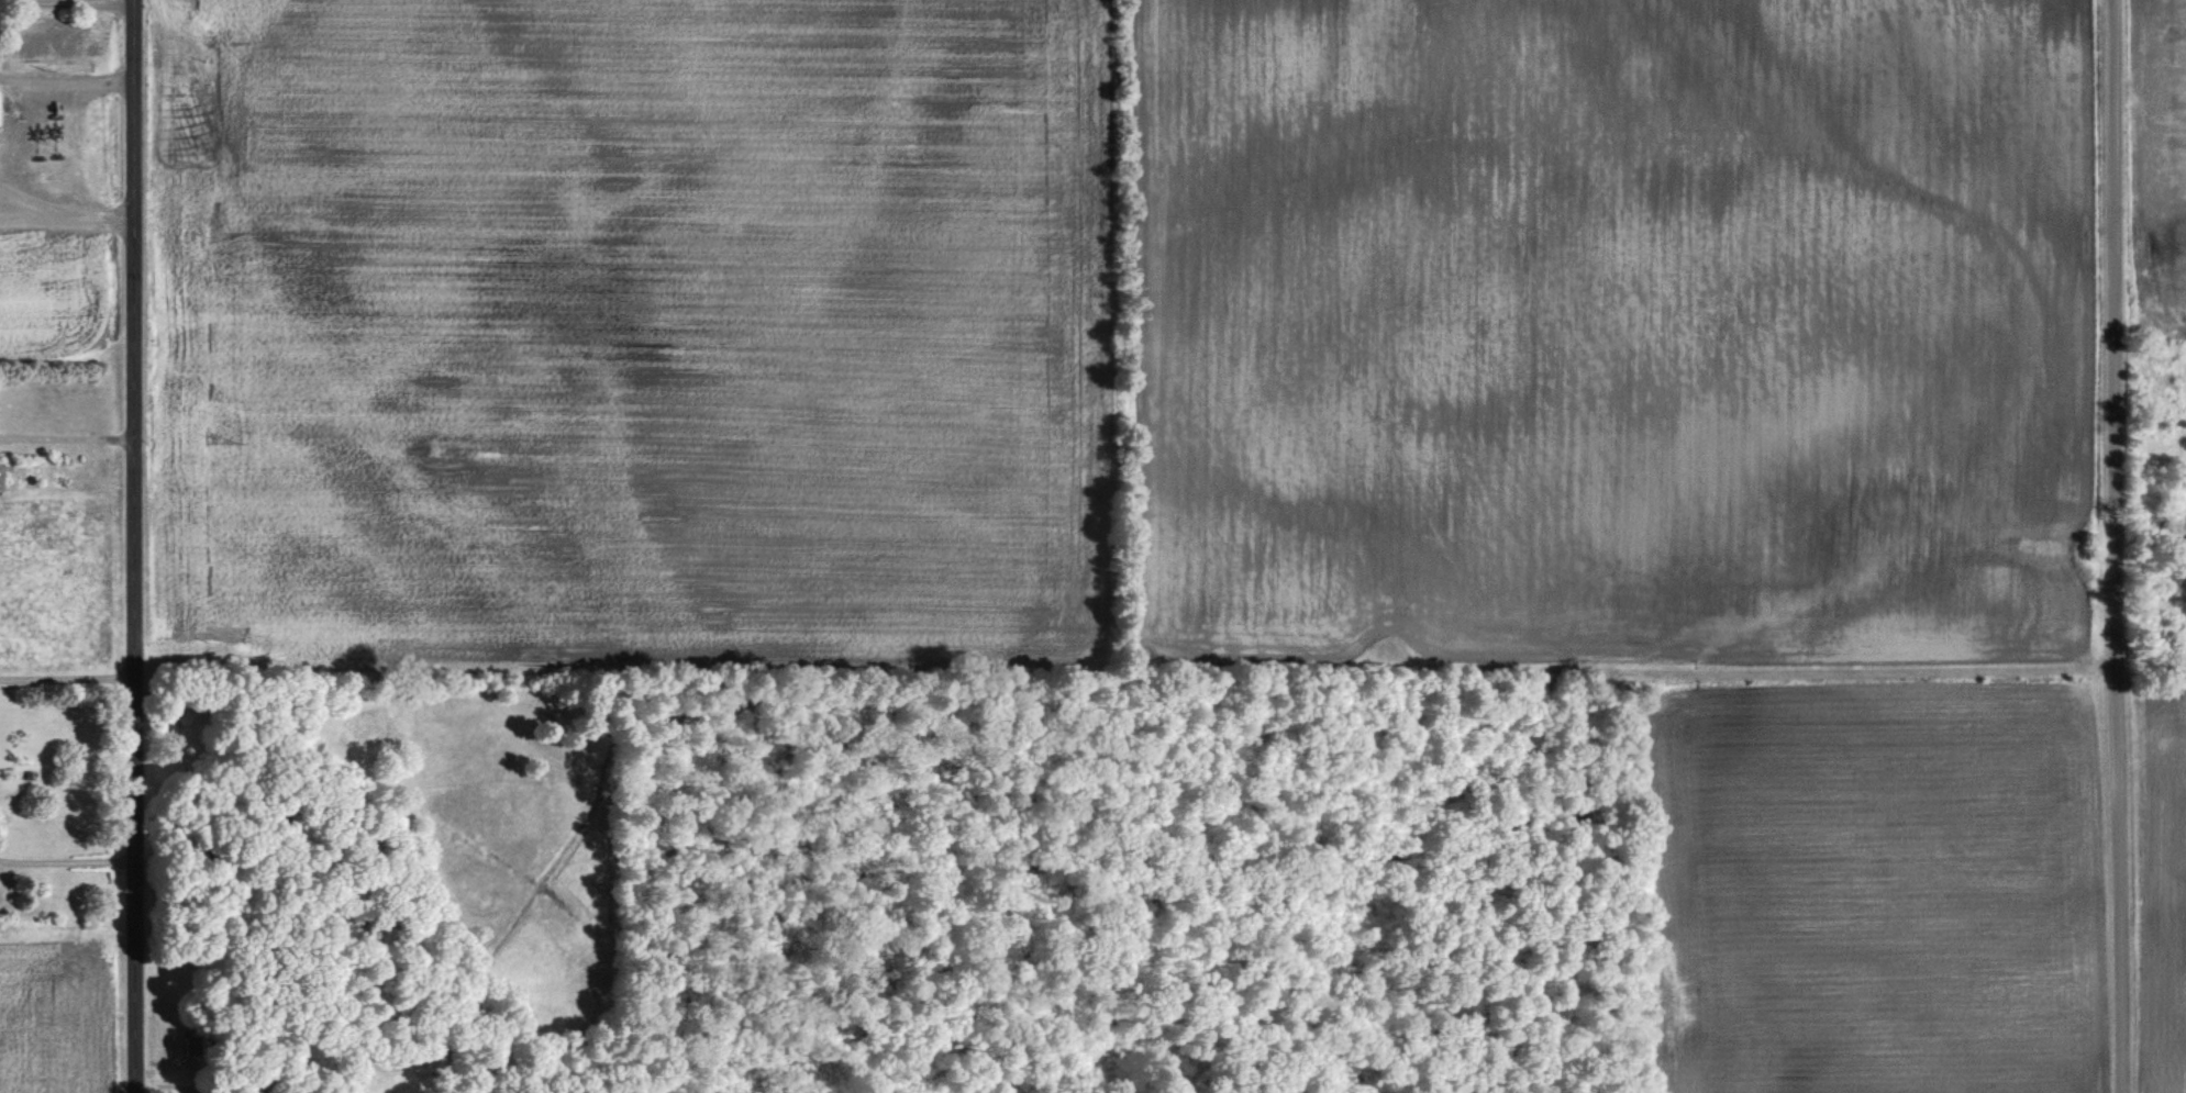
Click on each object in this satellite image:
road: (55, 0)
road: (66, 82)
building: (0, 107)
road: (63, 214)
road: (14, 220)
road: (66, 437)
road: (133, 546)
road: (2123, 546)
road: (66, 674)
road: (66, 858)

